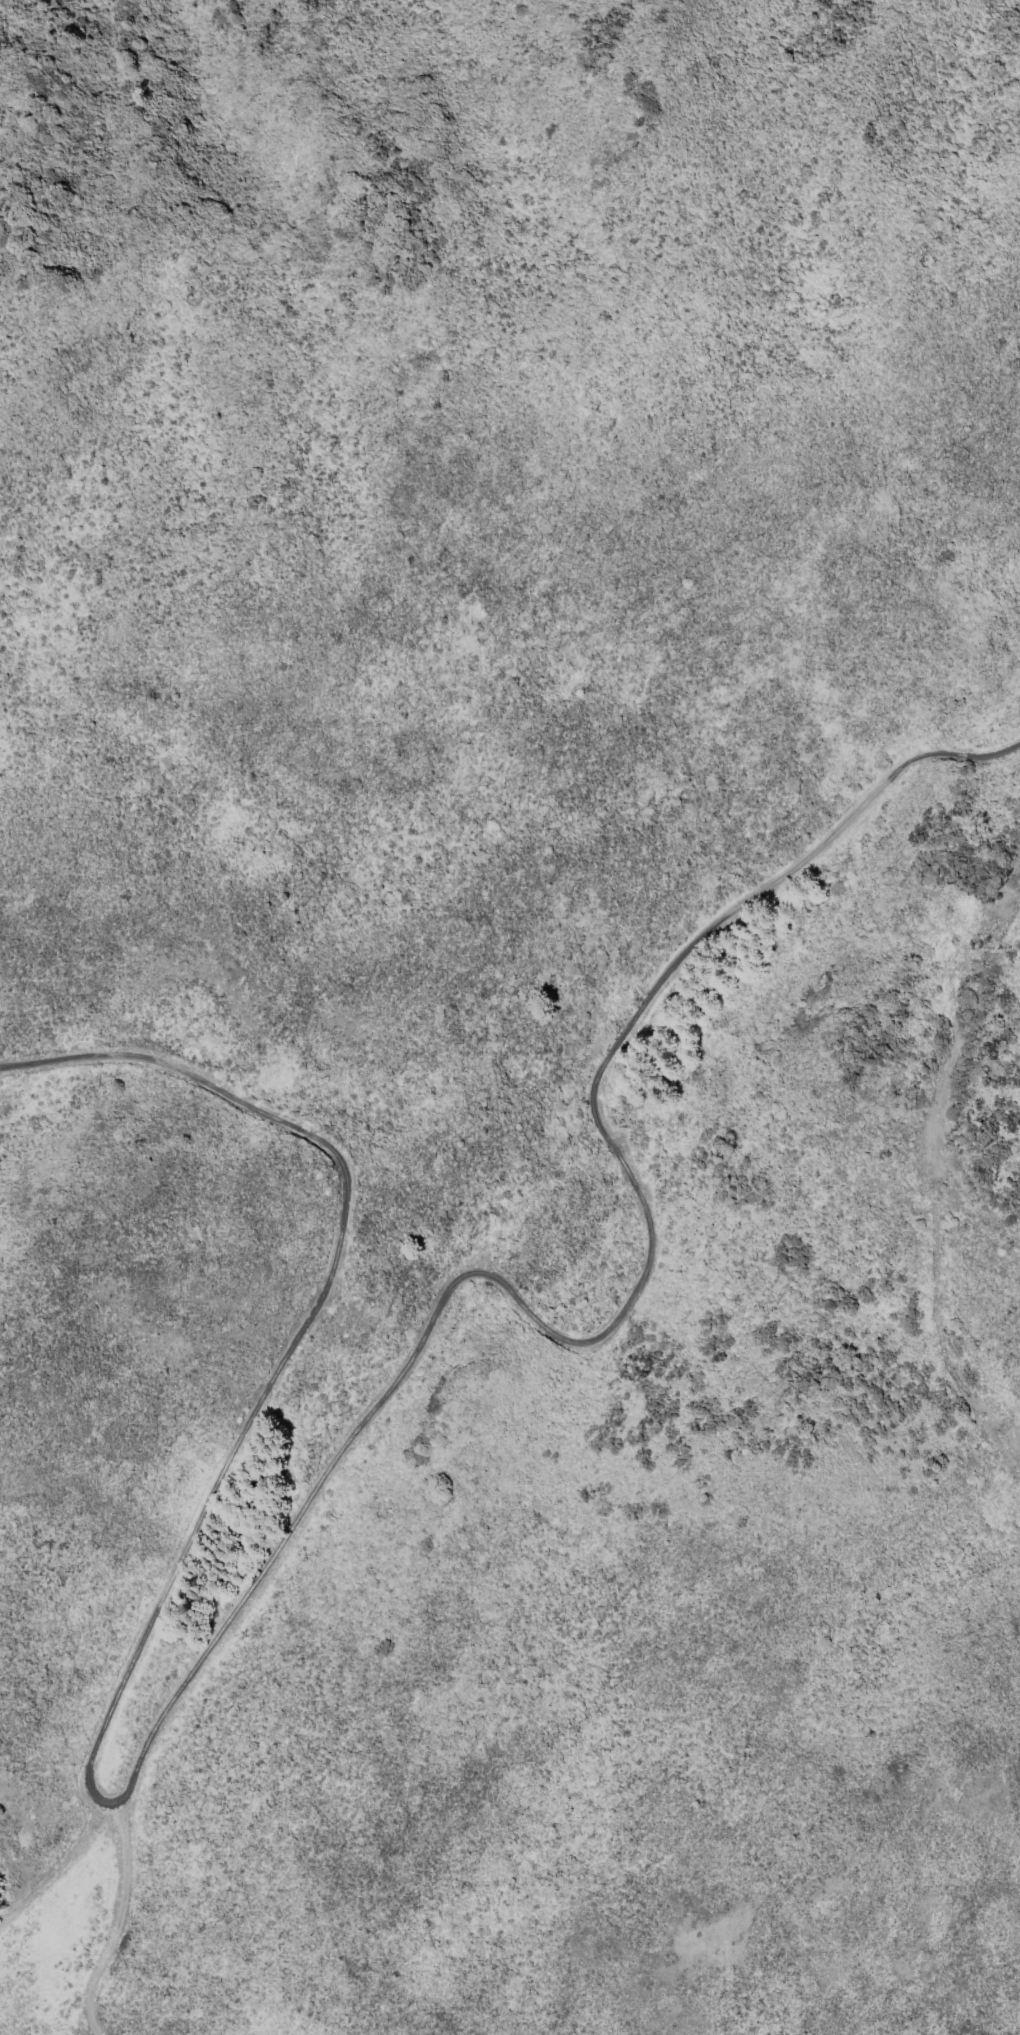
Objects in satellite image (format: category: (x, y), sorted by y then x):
road: (613, 1321)
road: (266, 1391)
road: (114, 1923)

